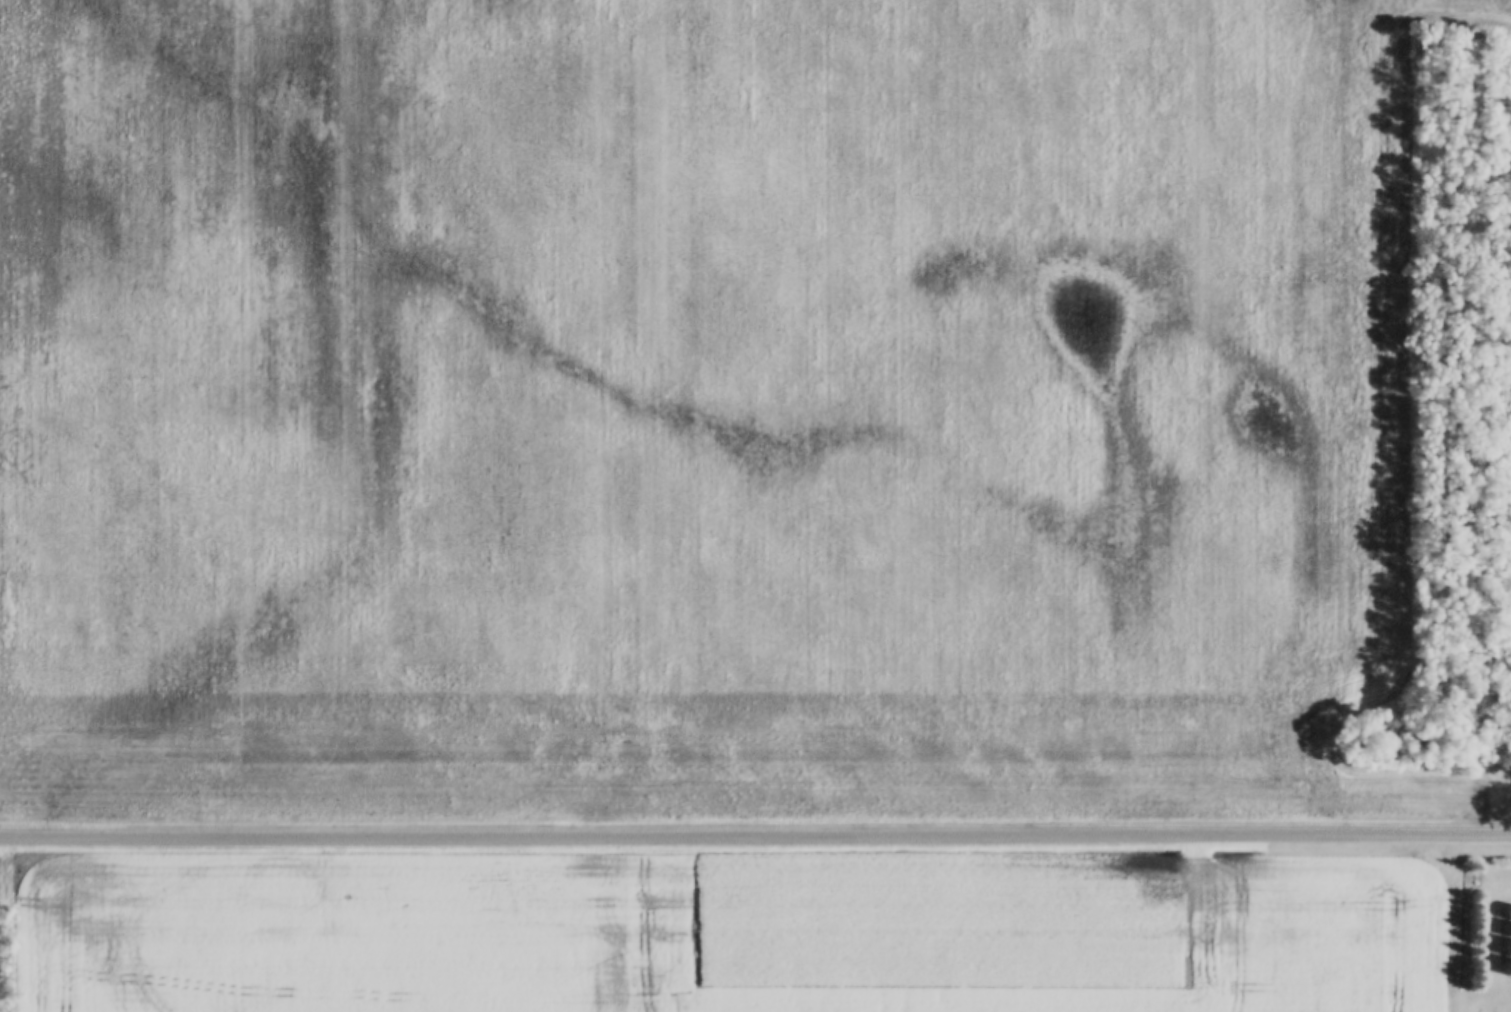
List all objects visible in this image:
road: (755, 839)

